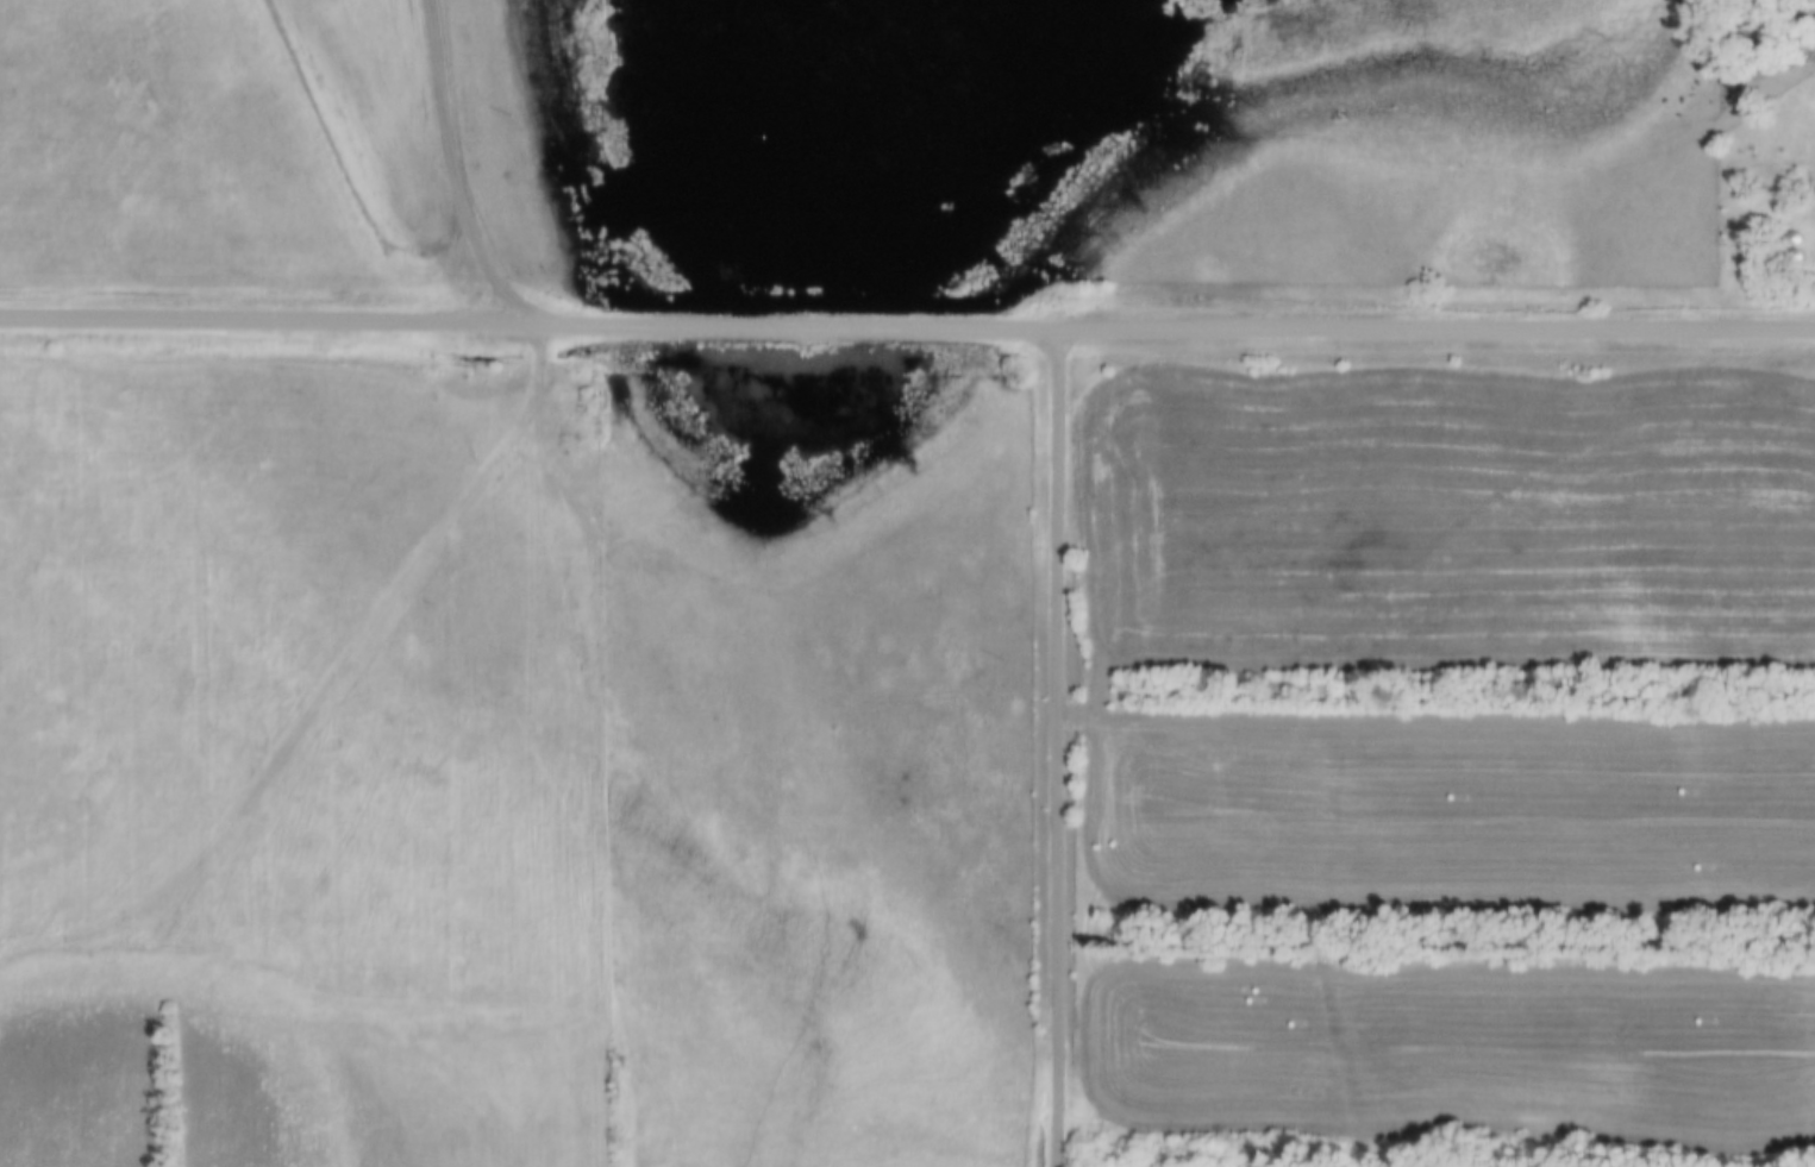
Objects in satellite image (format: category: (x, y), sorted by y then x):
road: (450, 174)
road: (907, 327)
road: (565, 746)
road: (1052, 748)

